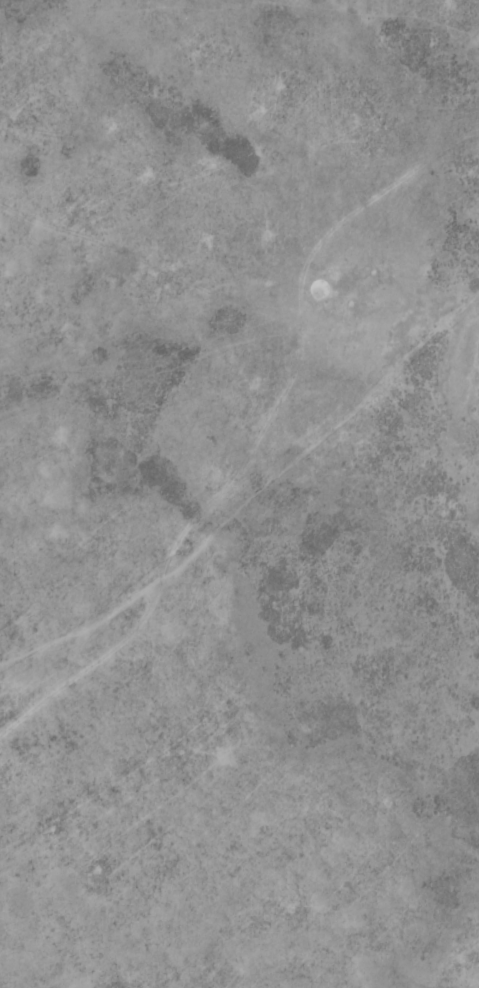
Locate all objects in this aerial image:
road: (139, 216)

